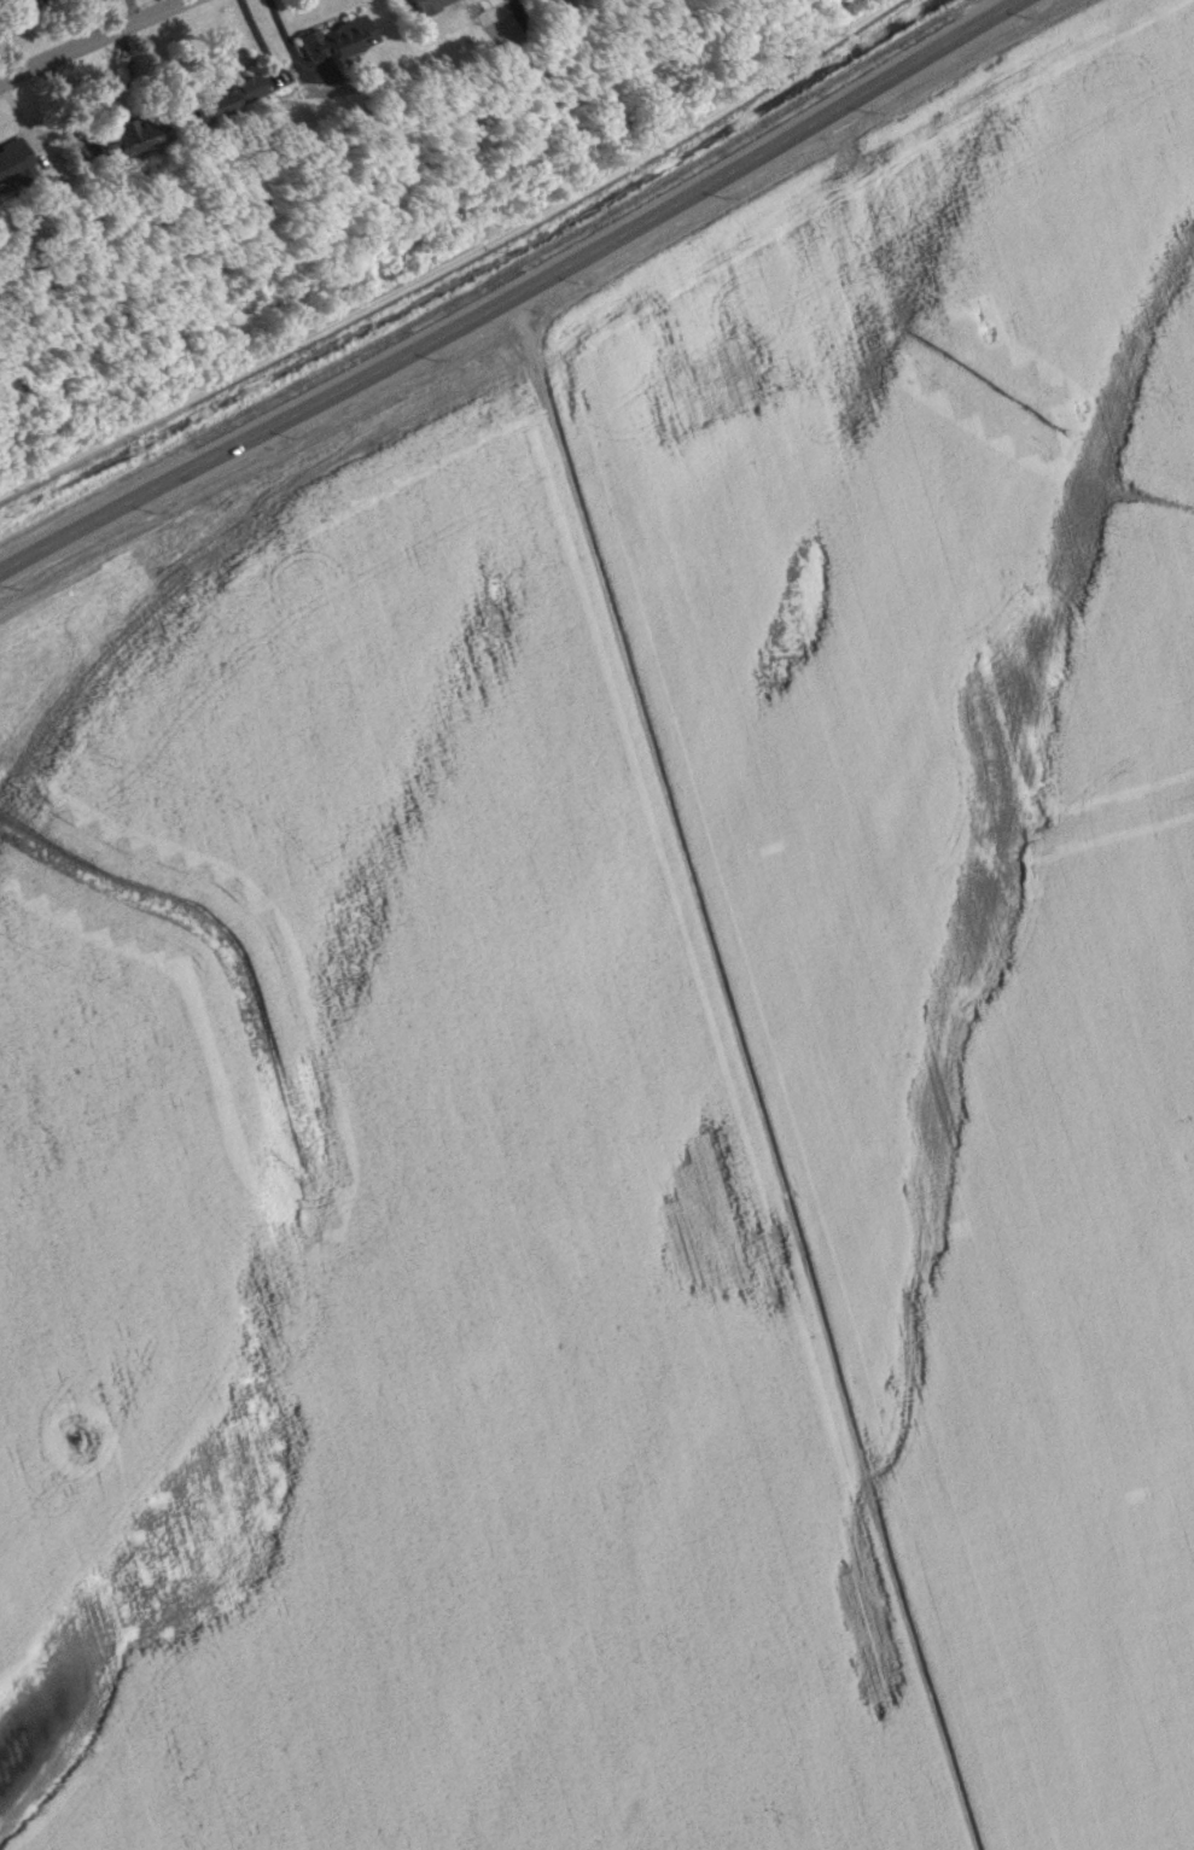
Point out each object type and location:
building: (419, 4)
road: (258, 39)
road: (93, 40)
road: (285, 45)
road: (453, 262)
road: (514, 296)
road: (957, 568)
crop: (637, 1046)
road: (749, 1072)

